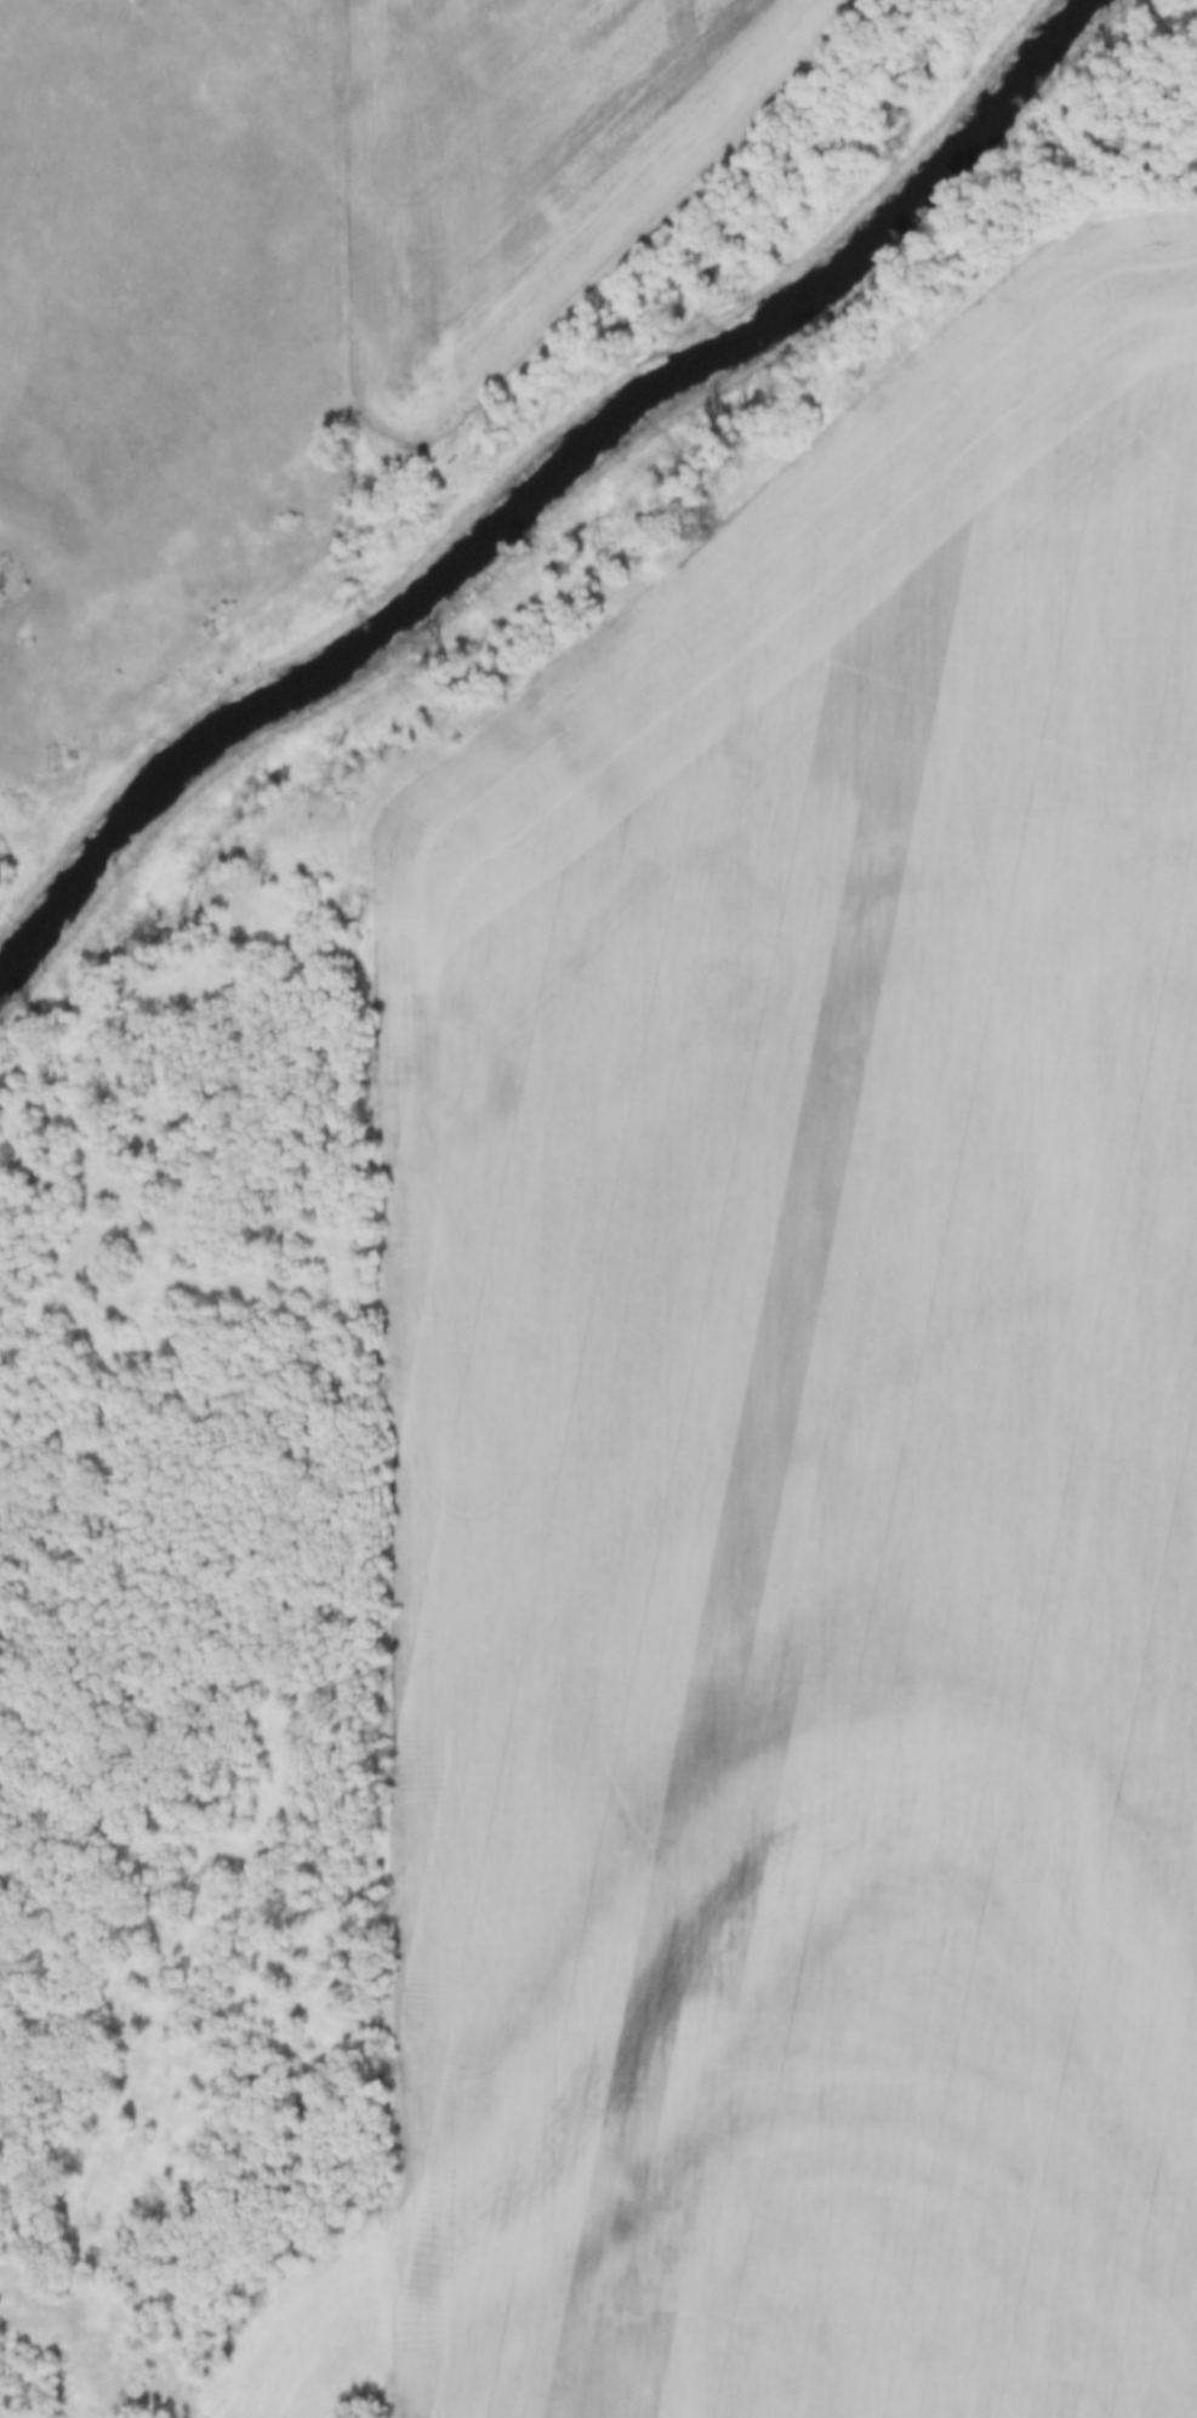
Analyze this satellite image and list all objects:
river: (525, 477)

